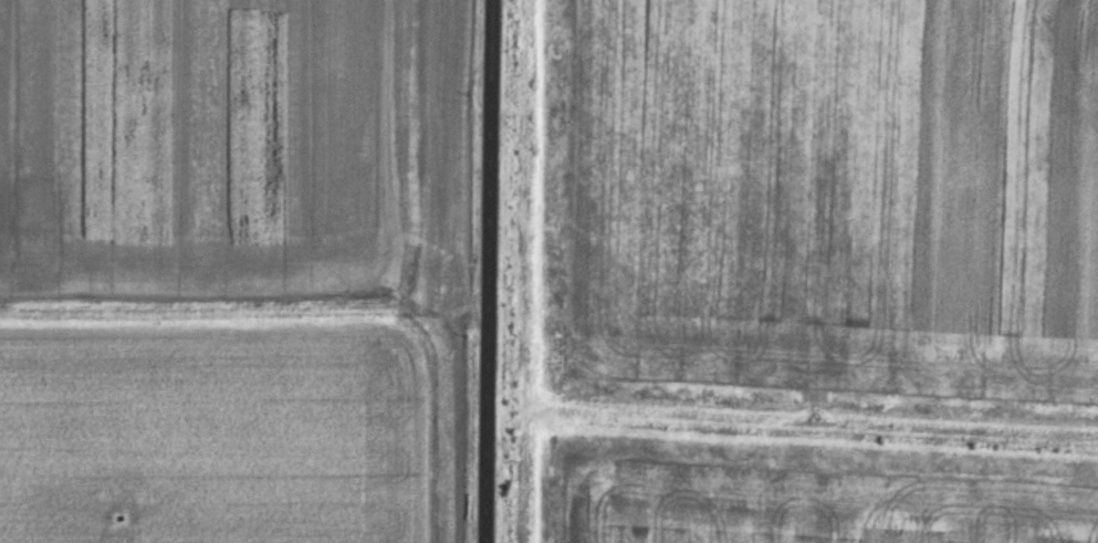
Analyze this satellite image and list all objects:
road: (491, 271)

